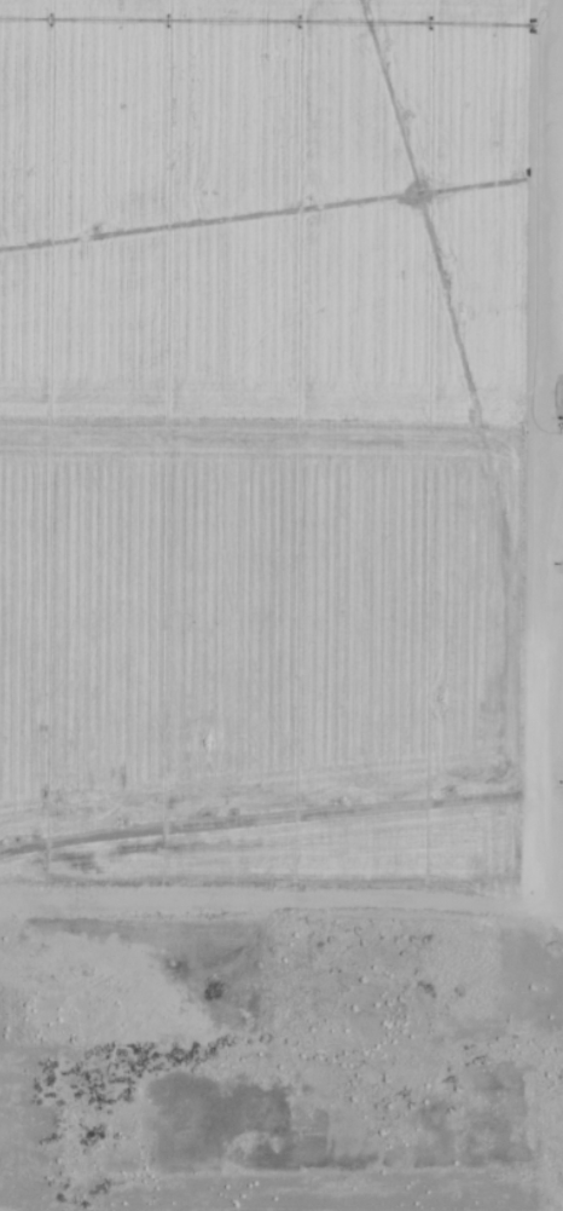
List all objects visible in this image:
crop: (262, 213)

